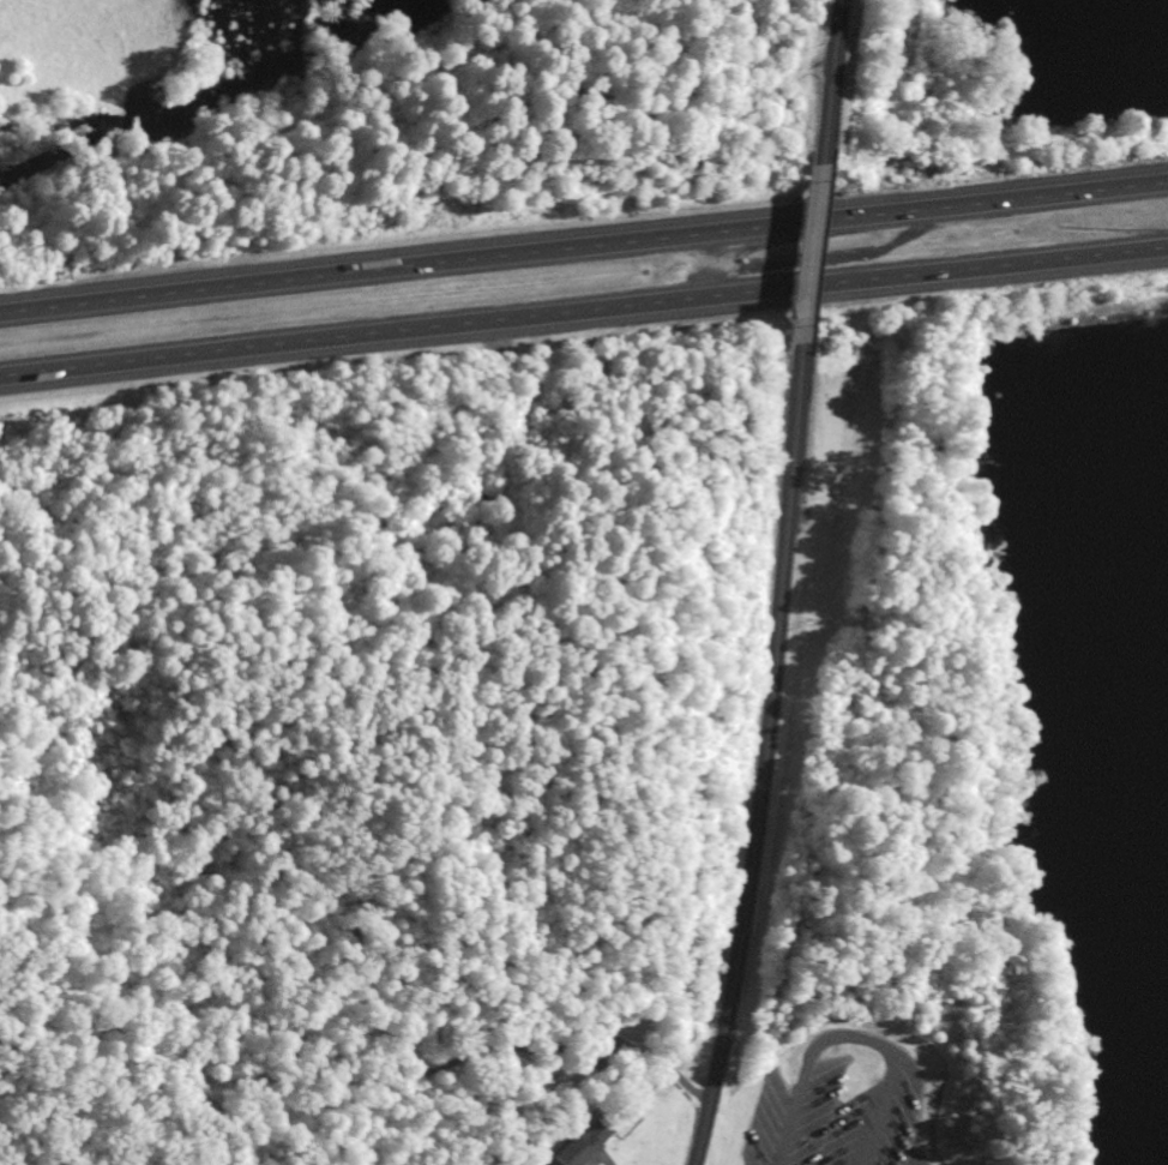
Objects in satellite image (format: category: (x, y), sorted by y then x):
road: (814, 82)
road: (583, 247)
road: (797, 256)
road: (584, 313)
road: (763, 758)
road: (902, 1039)
building: (582, 1141)

